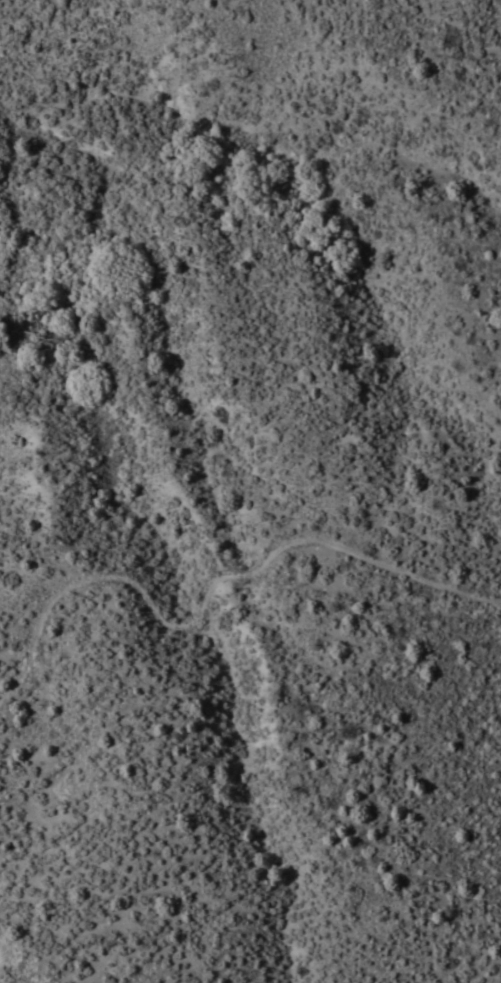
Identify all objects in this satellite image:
road: (211, 576)
road: (18, 962)

